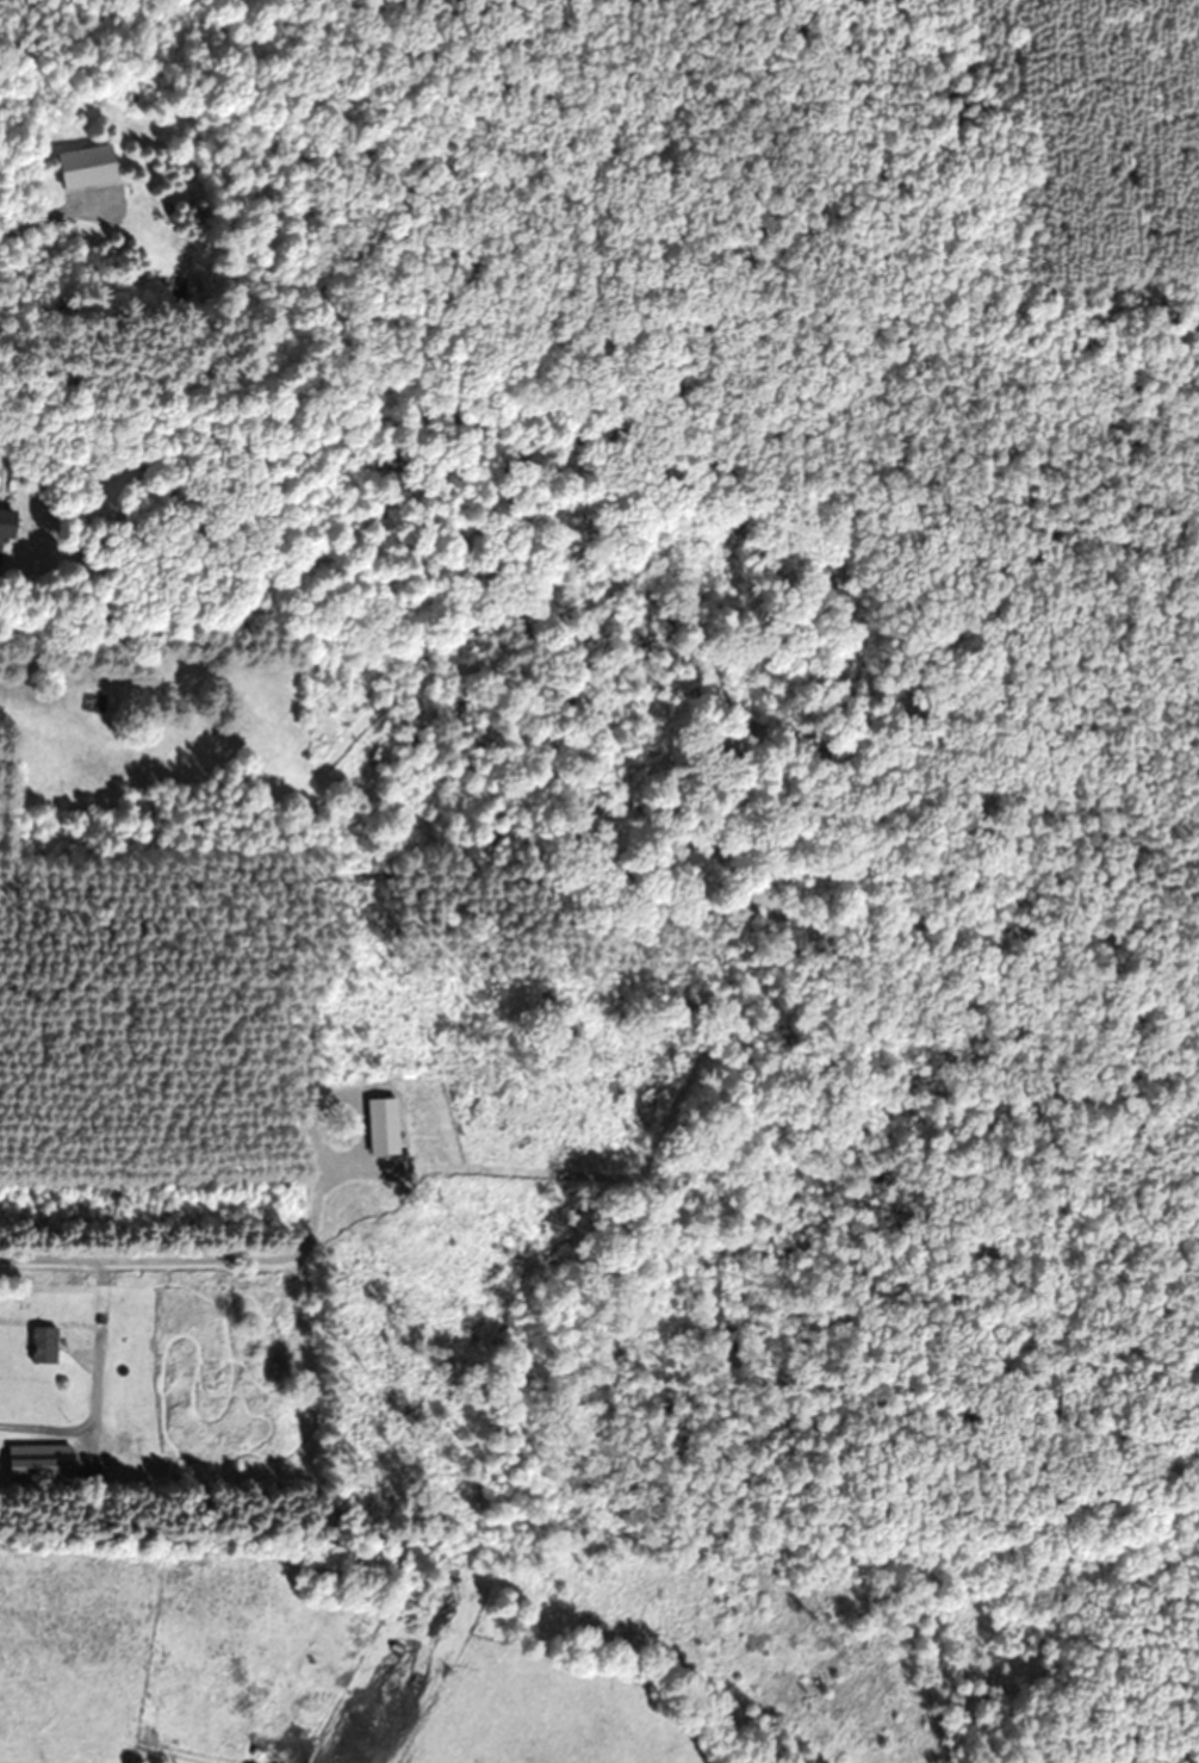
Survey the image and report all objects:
building: (89, 168)
building: (8, 527)
road: (100, 1310)
building: (45, 1345)
road: (45, 1427)
building: (43, 1463)

